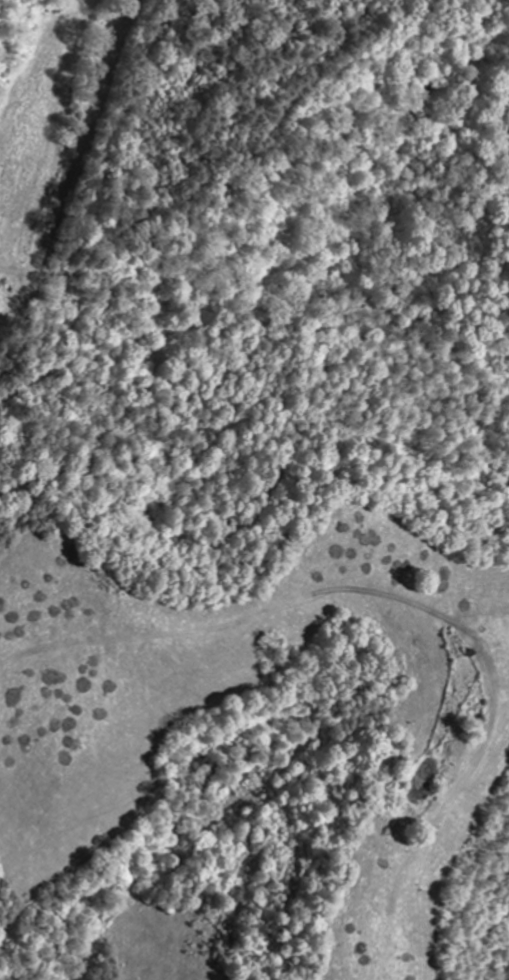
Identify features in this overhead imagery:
road: (75, 168)
road: (14, 274)

